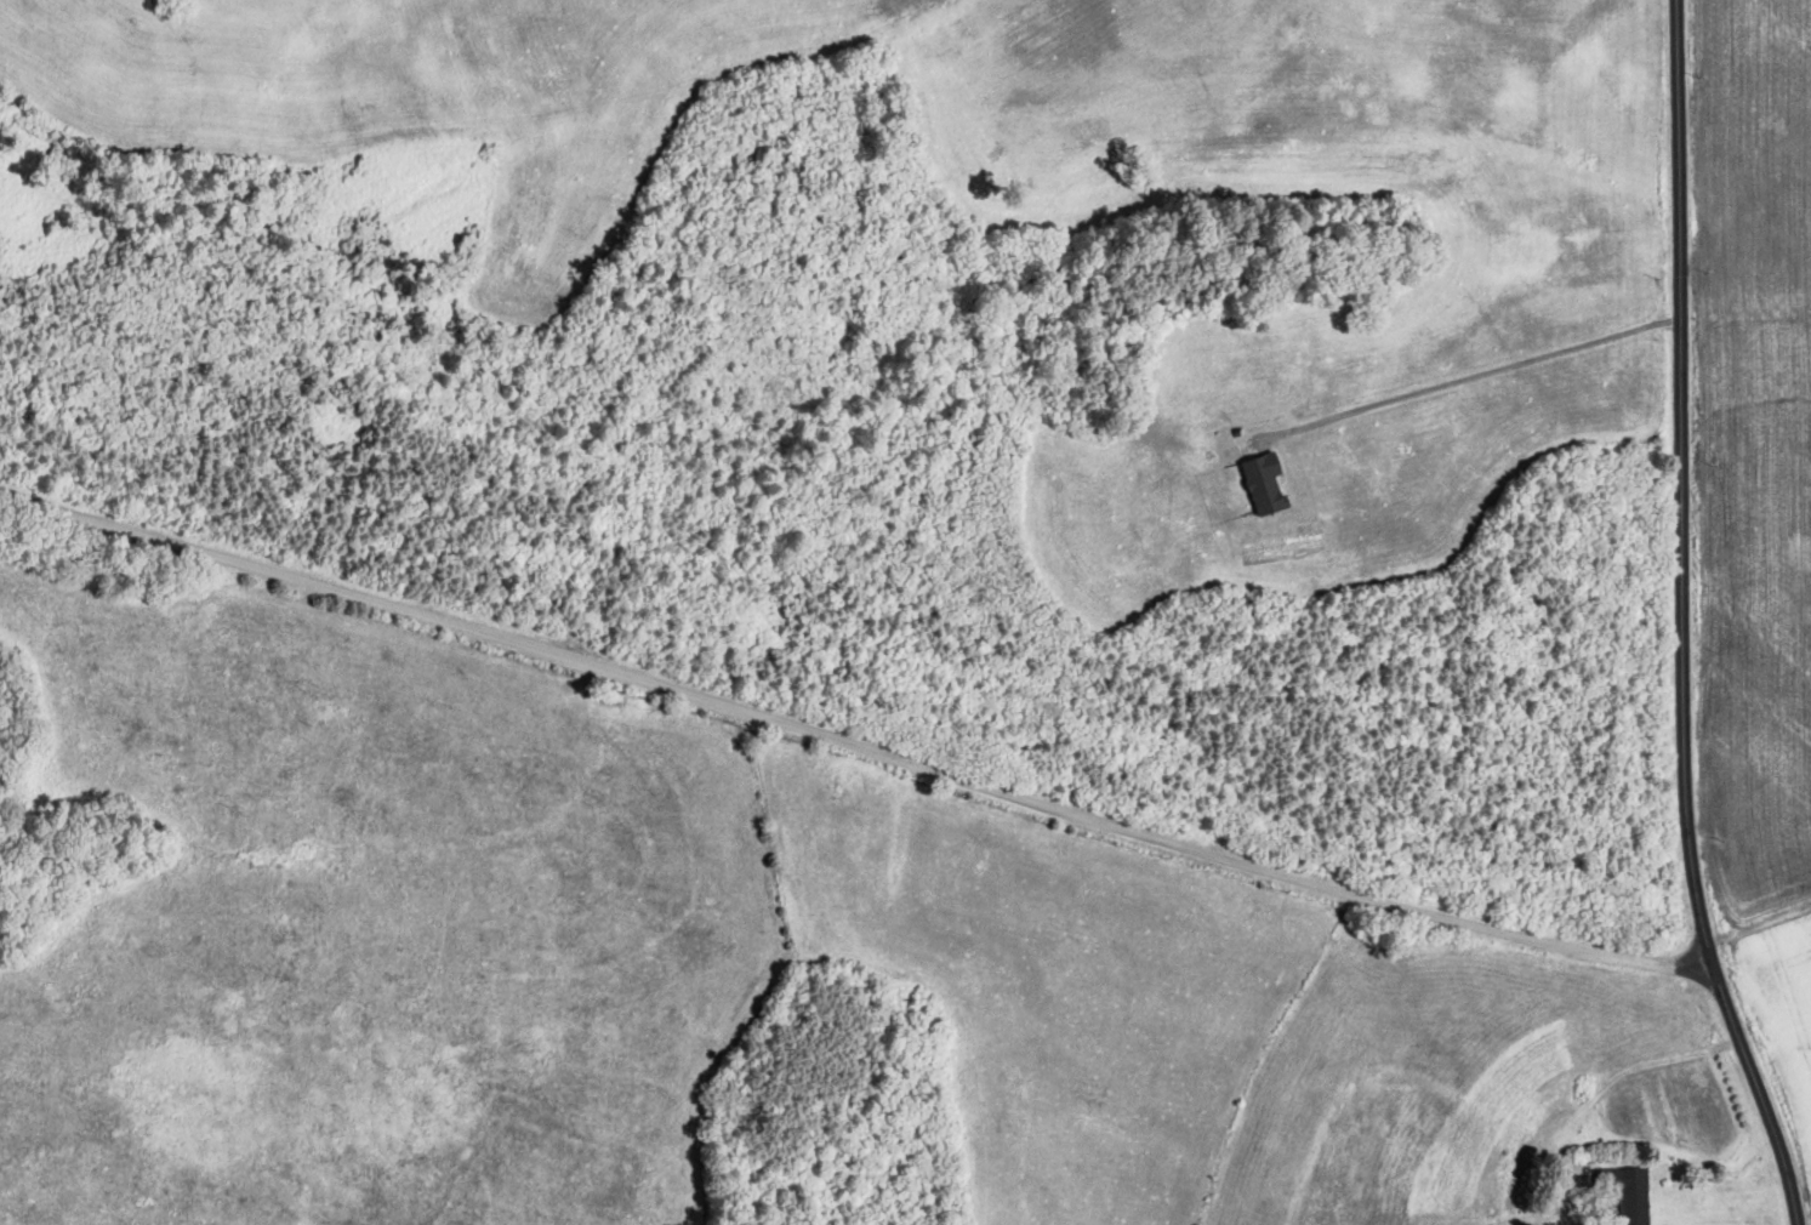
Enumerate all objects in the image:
road: (1682, 621)
road: (852, 748)
building: (1624, 1192)

